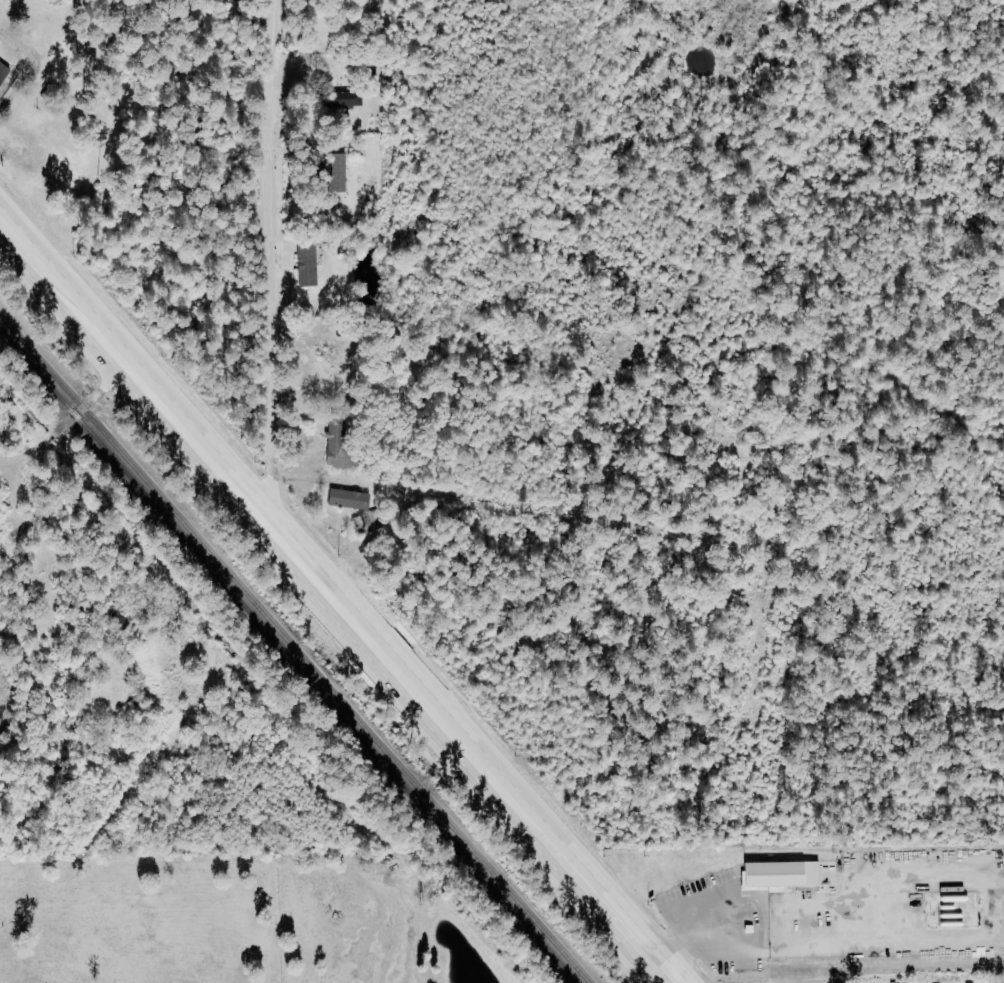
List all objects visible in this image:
building: (2, 70)
building: (342, 98)
road: (12, 99)
building: (334, 172)
building: (304, 263)
road: (267, 270)
road: (64, 424)
building: (333, 444)
building: (346, 499)
building: (362, 523)
building: (81, 603)
road: (328, 611)
railway: (293, 650)
railway: (288, 657)
building: (777, 875)
road: (691, 943)

